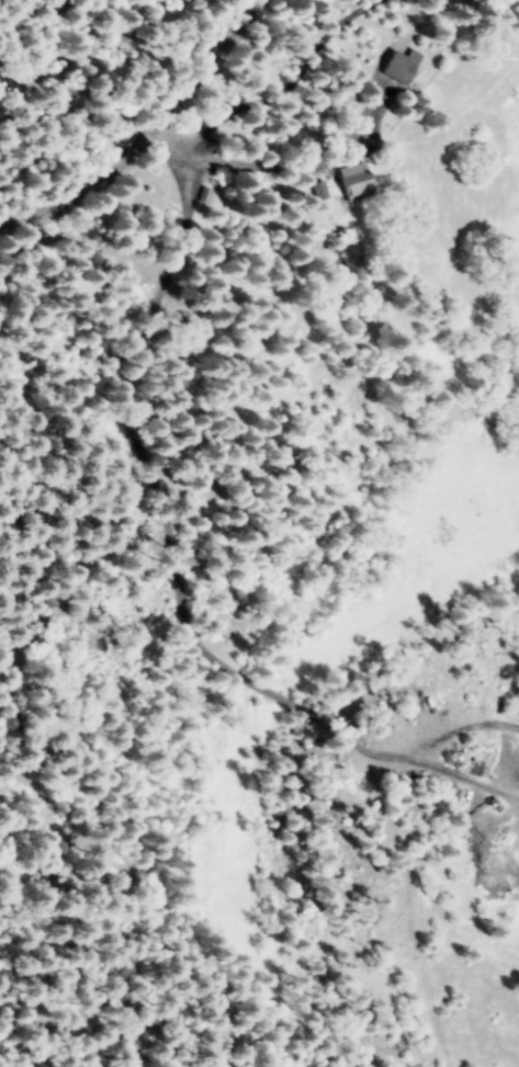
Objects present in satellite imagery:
building: (397, 65)
road: (142, 133)
building: (350, 180)
building: (313, 189)
building: (200, 195)

